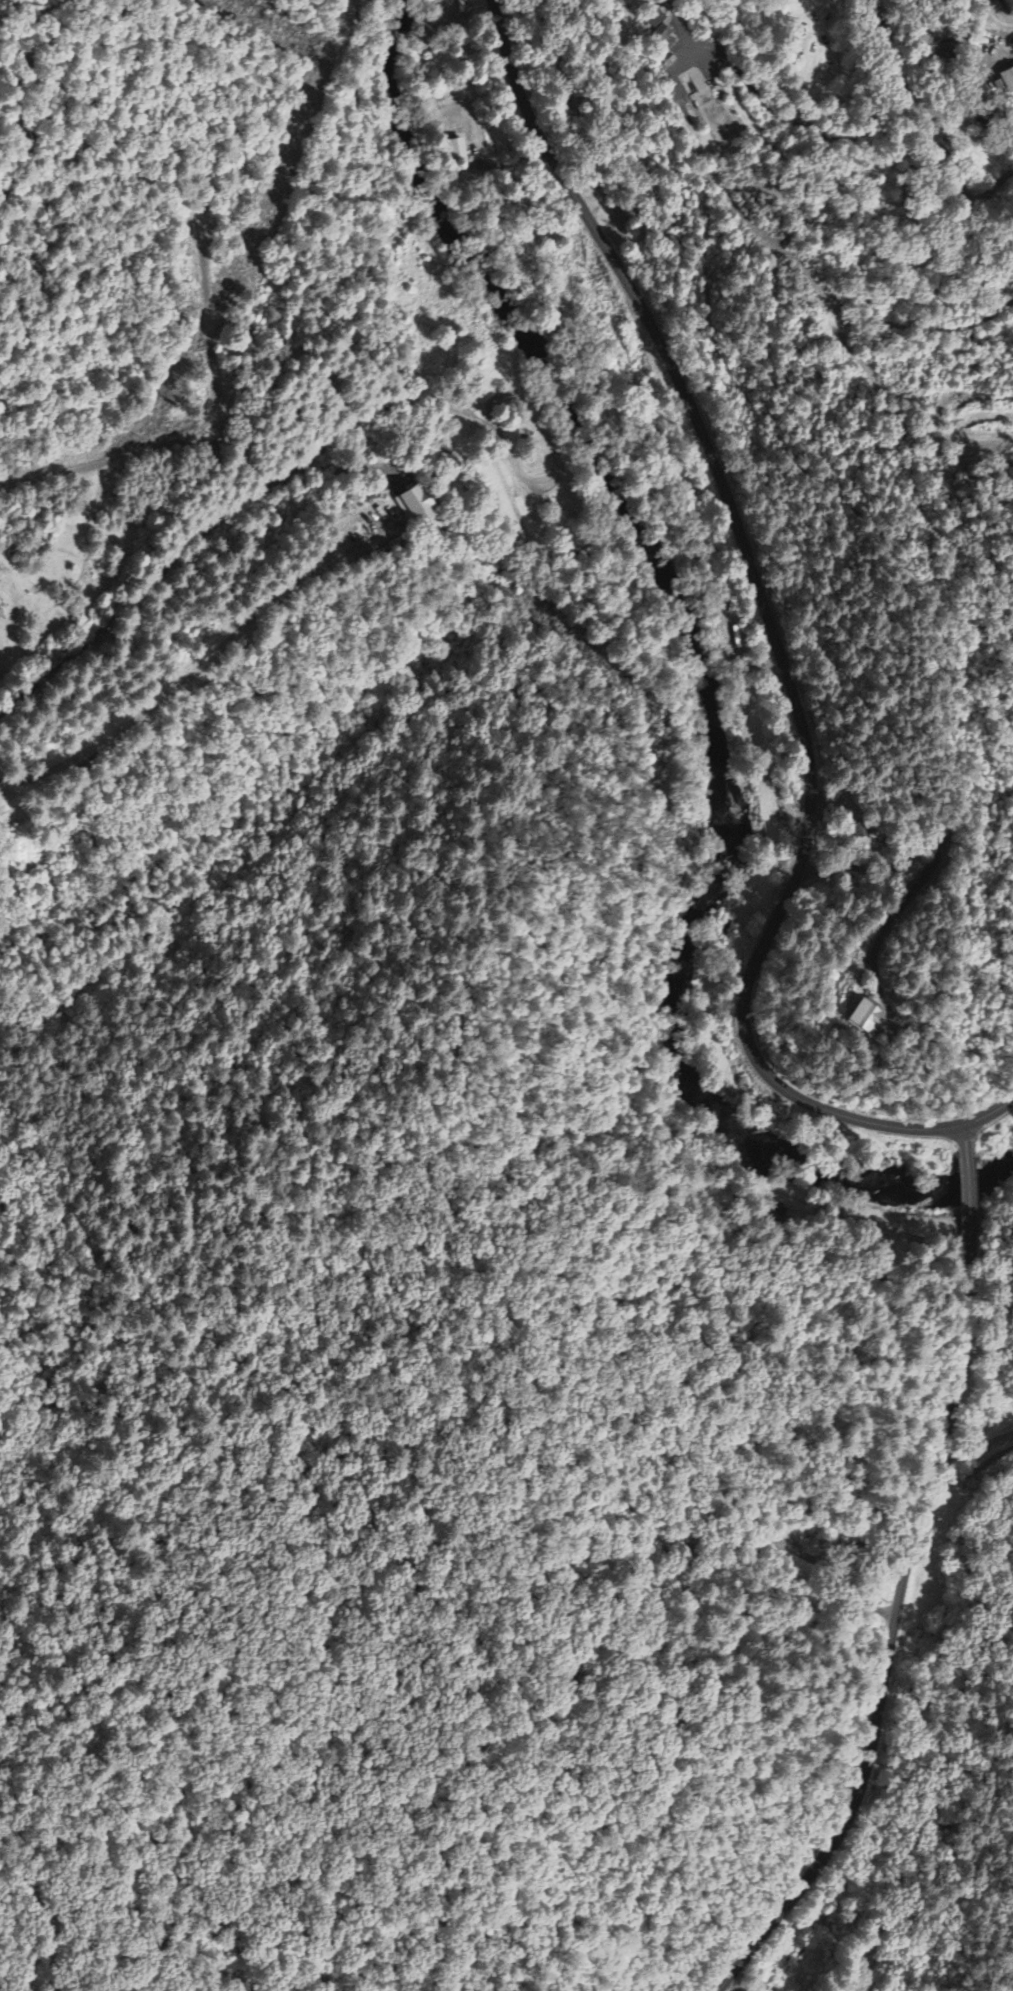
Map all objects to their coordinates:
building: (659, 31)
building: (1008, 82)
road: (581, 107)
road: (924, 129)
building: (457, 151)
building: (414, 507)
road: (779, 650)
building: (863, 1019)
road: (963, 1132)
road: (968, 1207)
road: (889, 1651)

